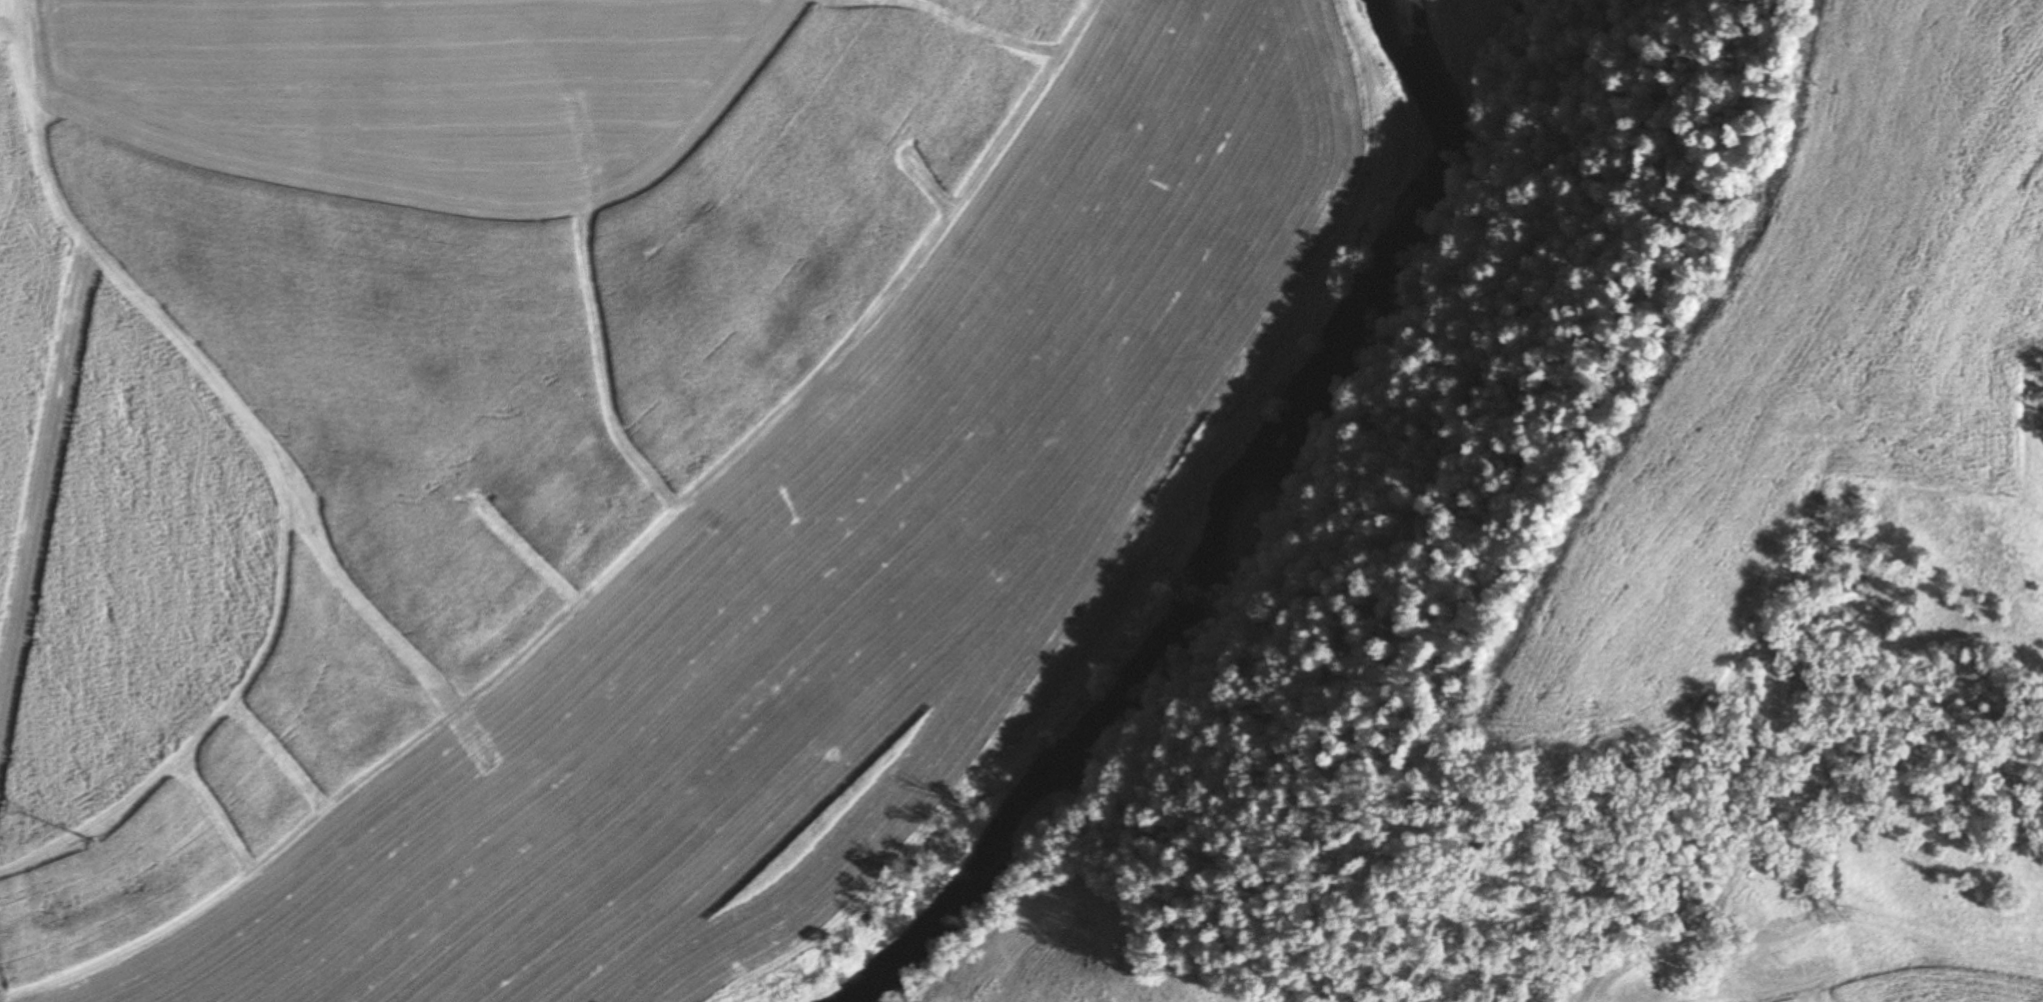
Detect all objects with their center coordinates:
river: (1214, 568)
power tower: (86, 843)

